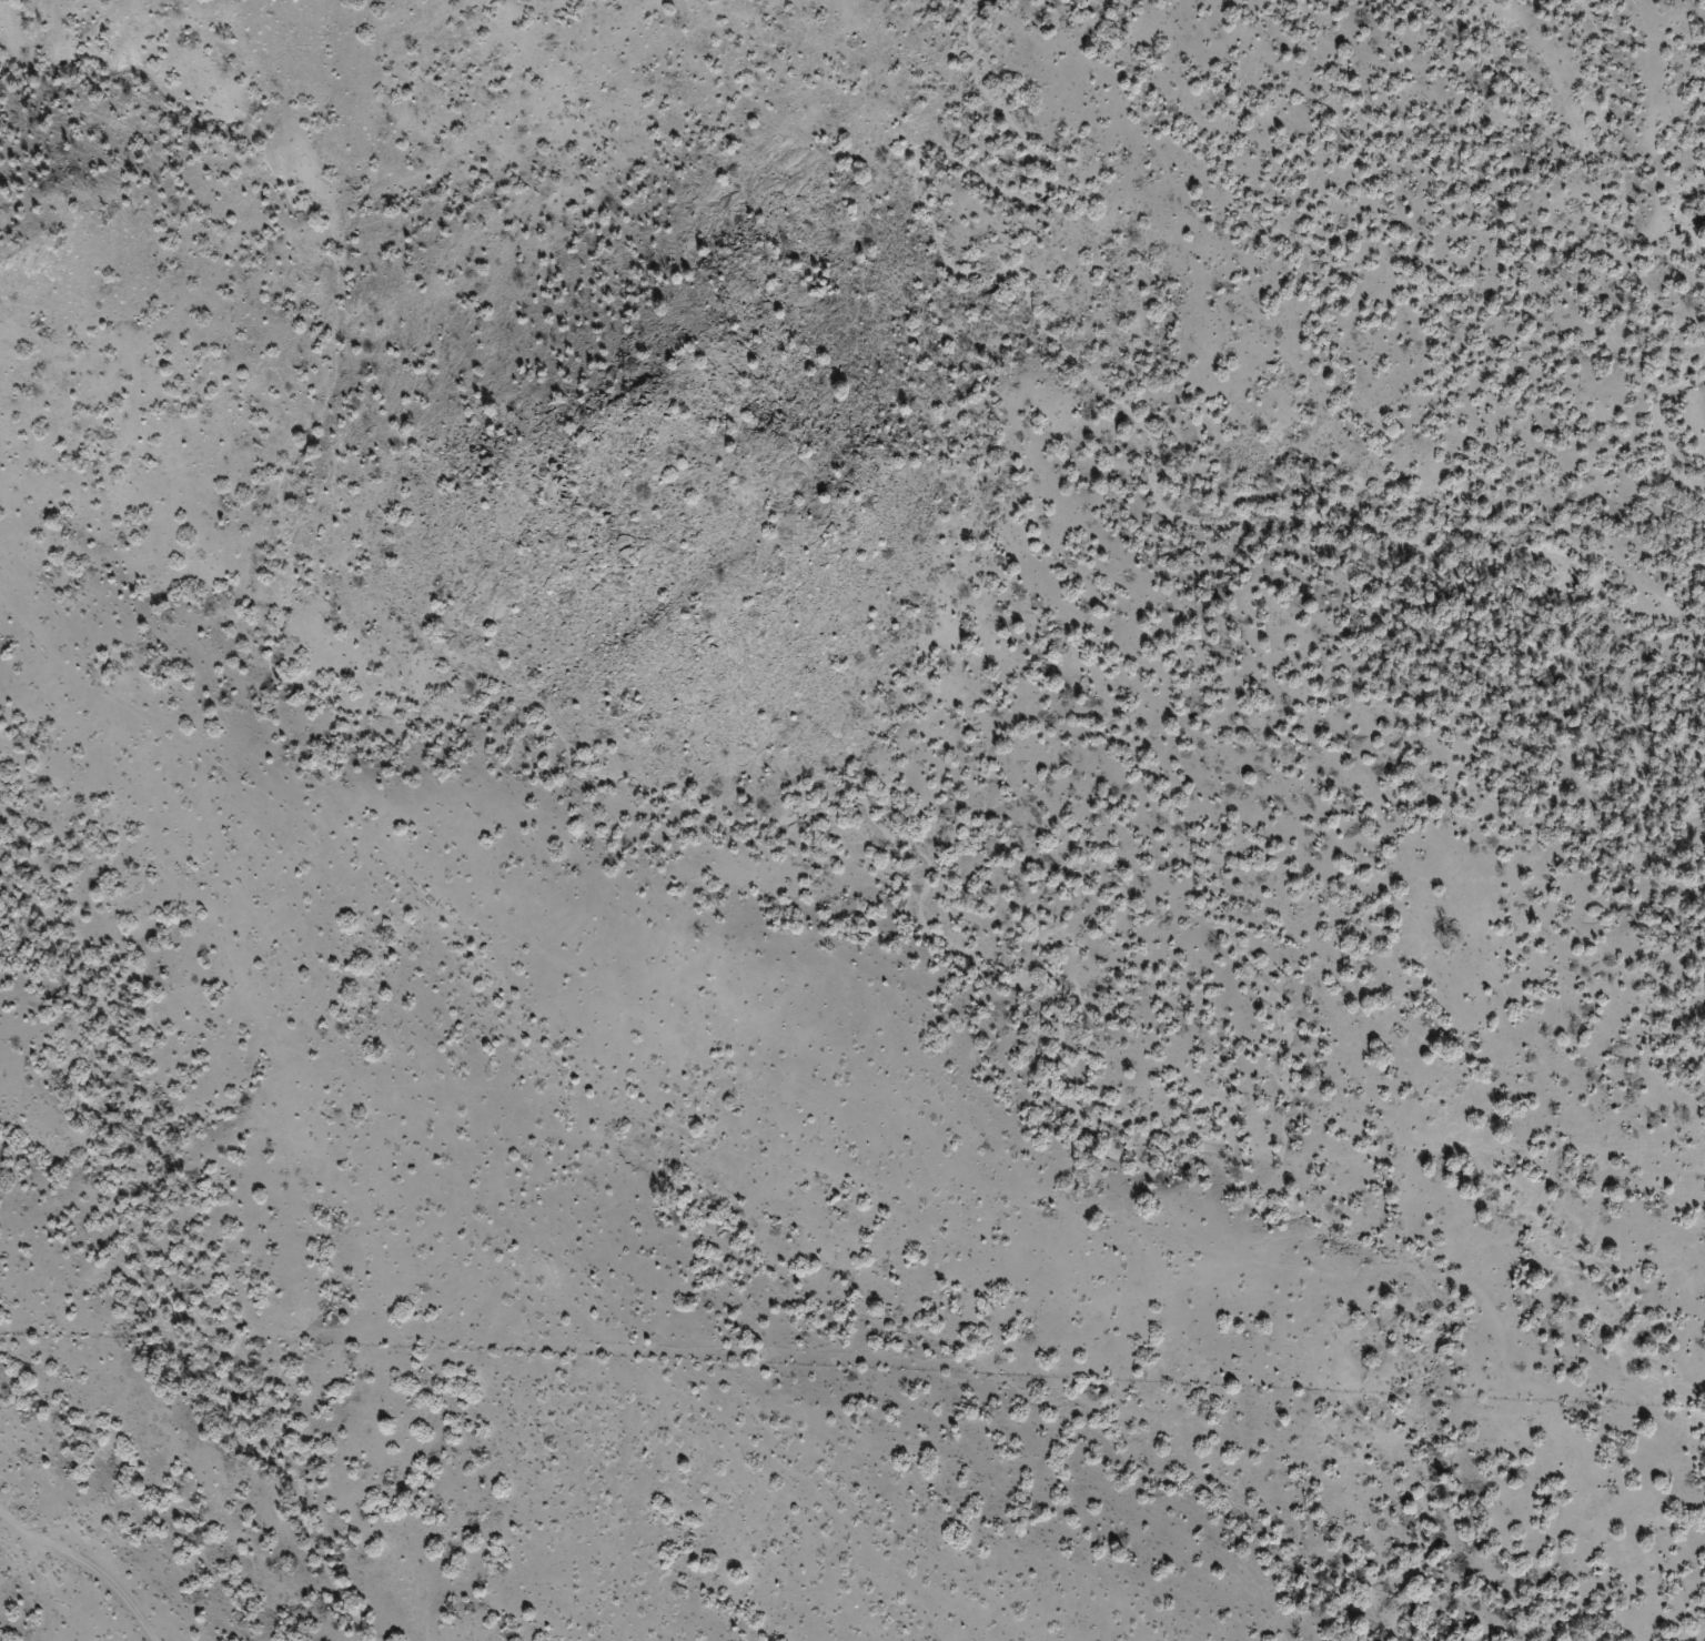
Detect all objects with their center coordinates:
road: (74, 1554)

